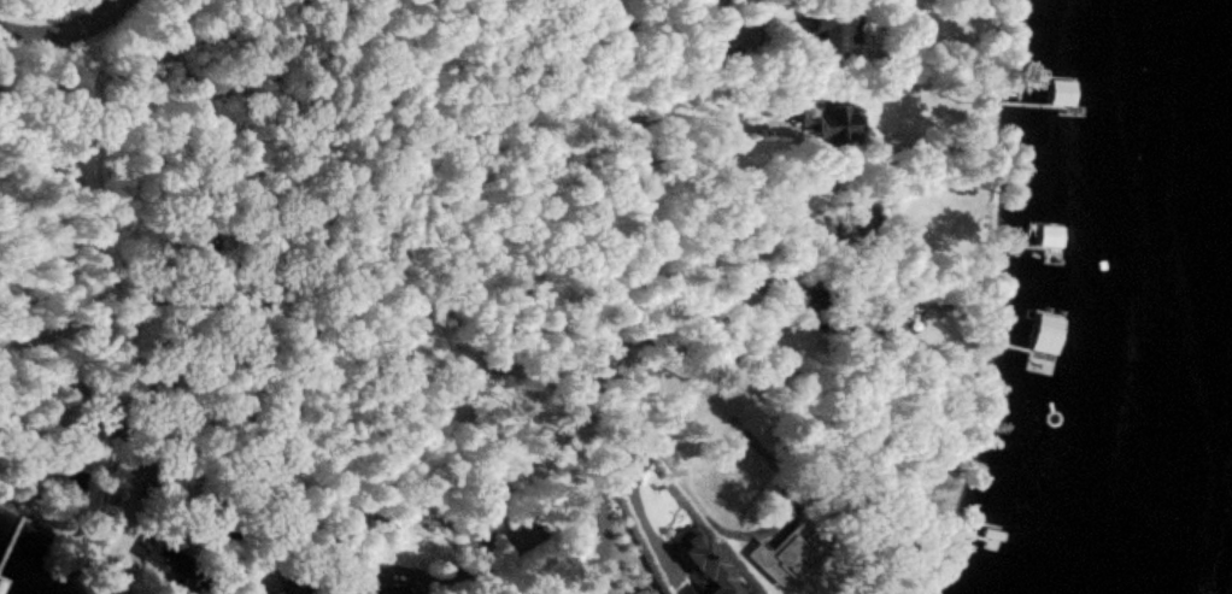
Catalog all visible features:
road: (63, 27)
building: (837, 31)
building: (1062, 84)
building: (837, 125)
building: (1045, 334)
road: (444, 514)
building: (636, 531)
building: (998, 535)
building: (788, 557)
building: (168, 563)

